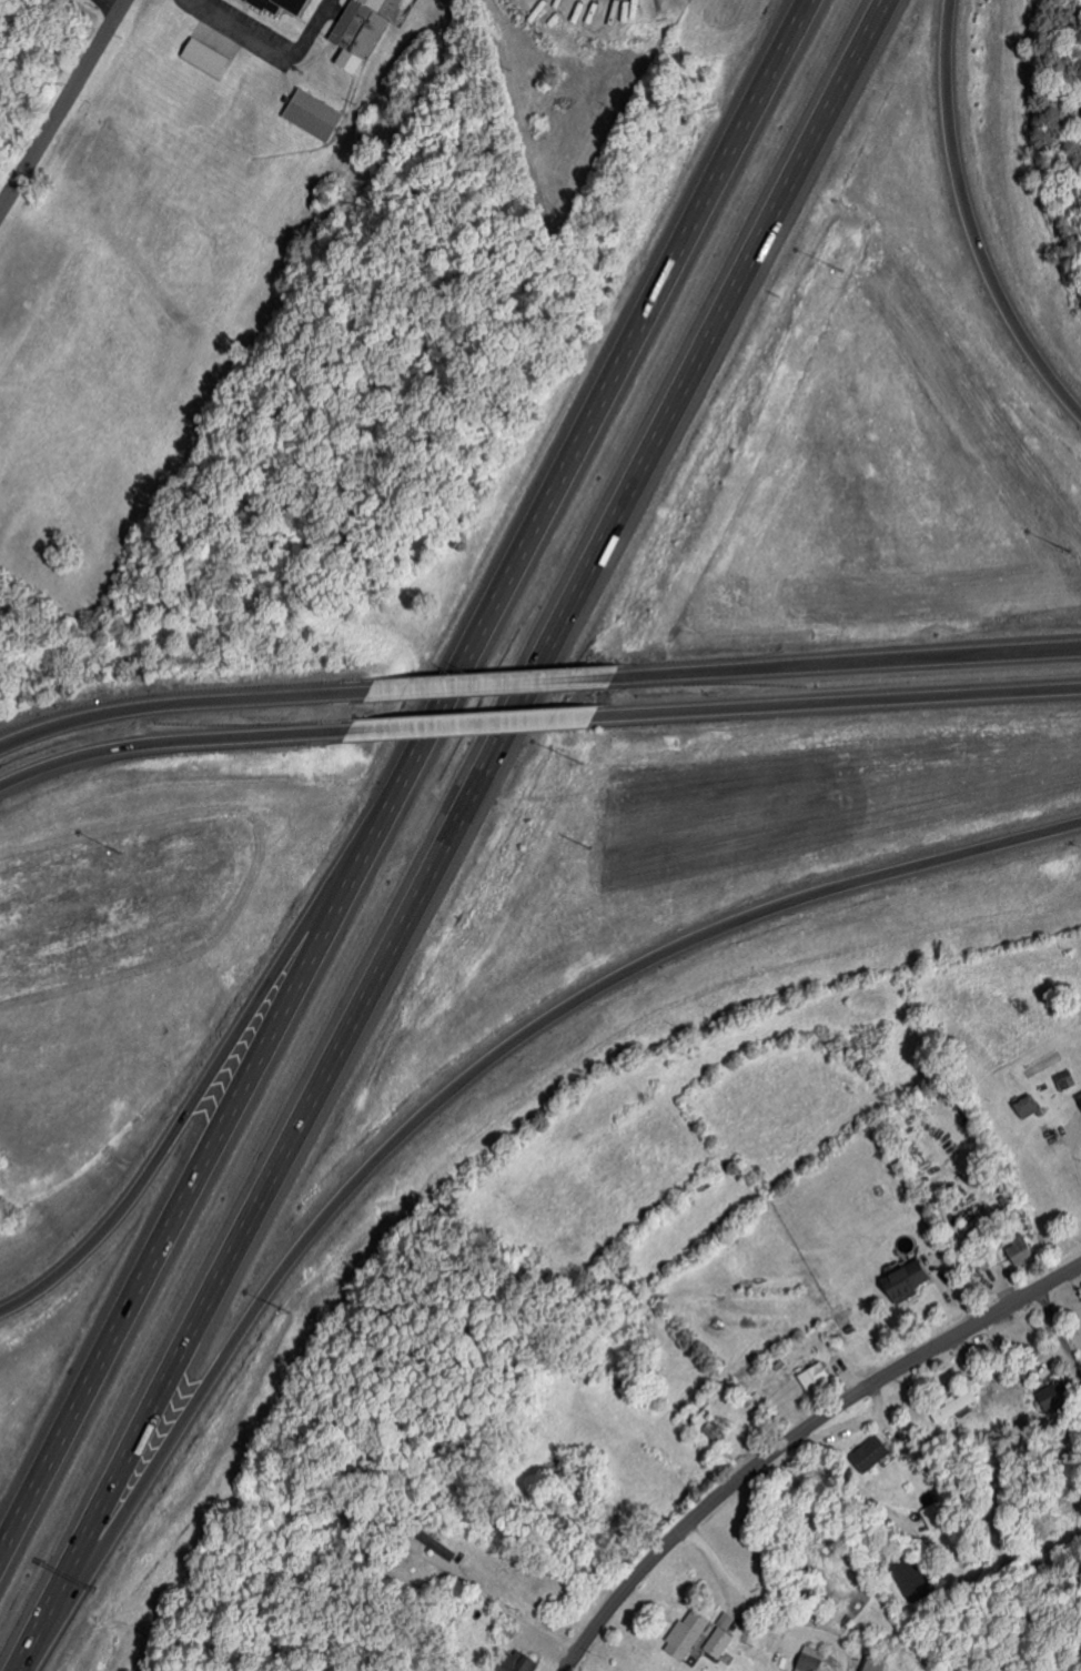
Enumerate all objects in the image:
building: (275, 4)
road: (117, 6)
building: (353, 31)
road: (27, 40)
road: (285, 41)
building: (200, 56)
road: (42, 83)
road: (65, 112)
building: (311, 114)
road: (969, 224)
road: (840, 666)
road: (498, 688)
road: (838, 703)
road: (195, 706)
road: (489, 724)
road: (186, 743)
road: (403, 774)
road: (448, 835)
road: (210, 1076)
building: (1063, 1080)
building: (1078, 1101)
road: (437, 1106)
building: (1022, 1107)
road: (1078, 1142)
building: (1016, 1249)
building: (983, 1257)
building: (901, 1281)
road: (1060, 1328)
building: (817, 1376)
building: (1054, 1396)
building: (958, 1405)
road: (796, 1433)
building: (875, 1449)
road: (516, 1614)
road: (759, 1614)
building: (690, 1632)
building: (723, 1634)
building: (815, 1659)
building: (519, 1660)
building: (879, 1662)

